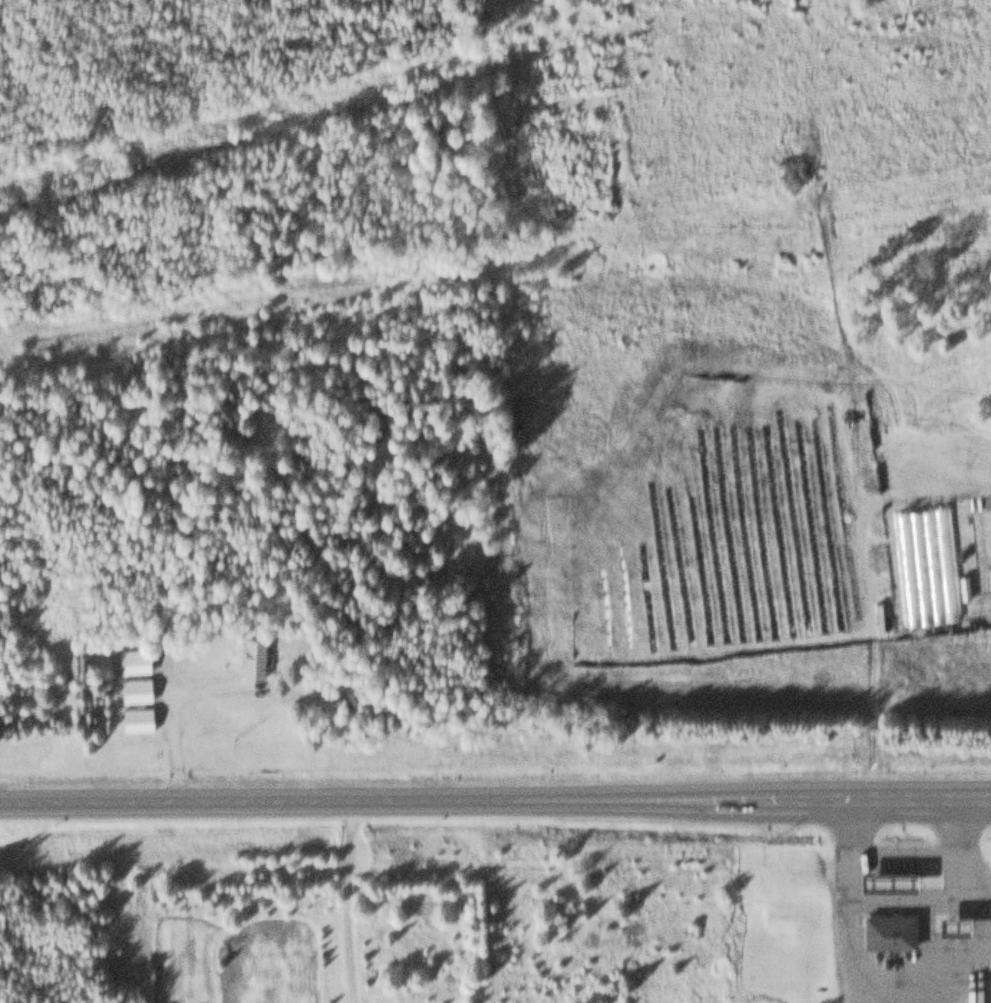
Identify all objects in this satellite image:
road: (864, 586)
building: (253, 656)
building: (133, 658)
building: (135, 687)
building: (136, 717)
road: (495, 799)
building: (887, 874)
road: (347, 901)
building: (953, 918)
building: (887, 926)

